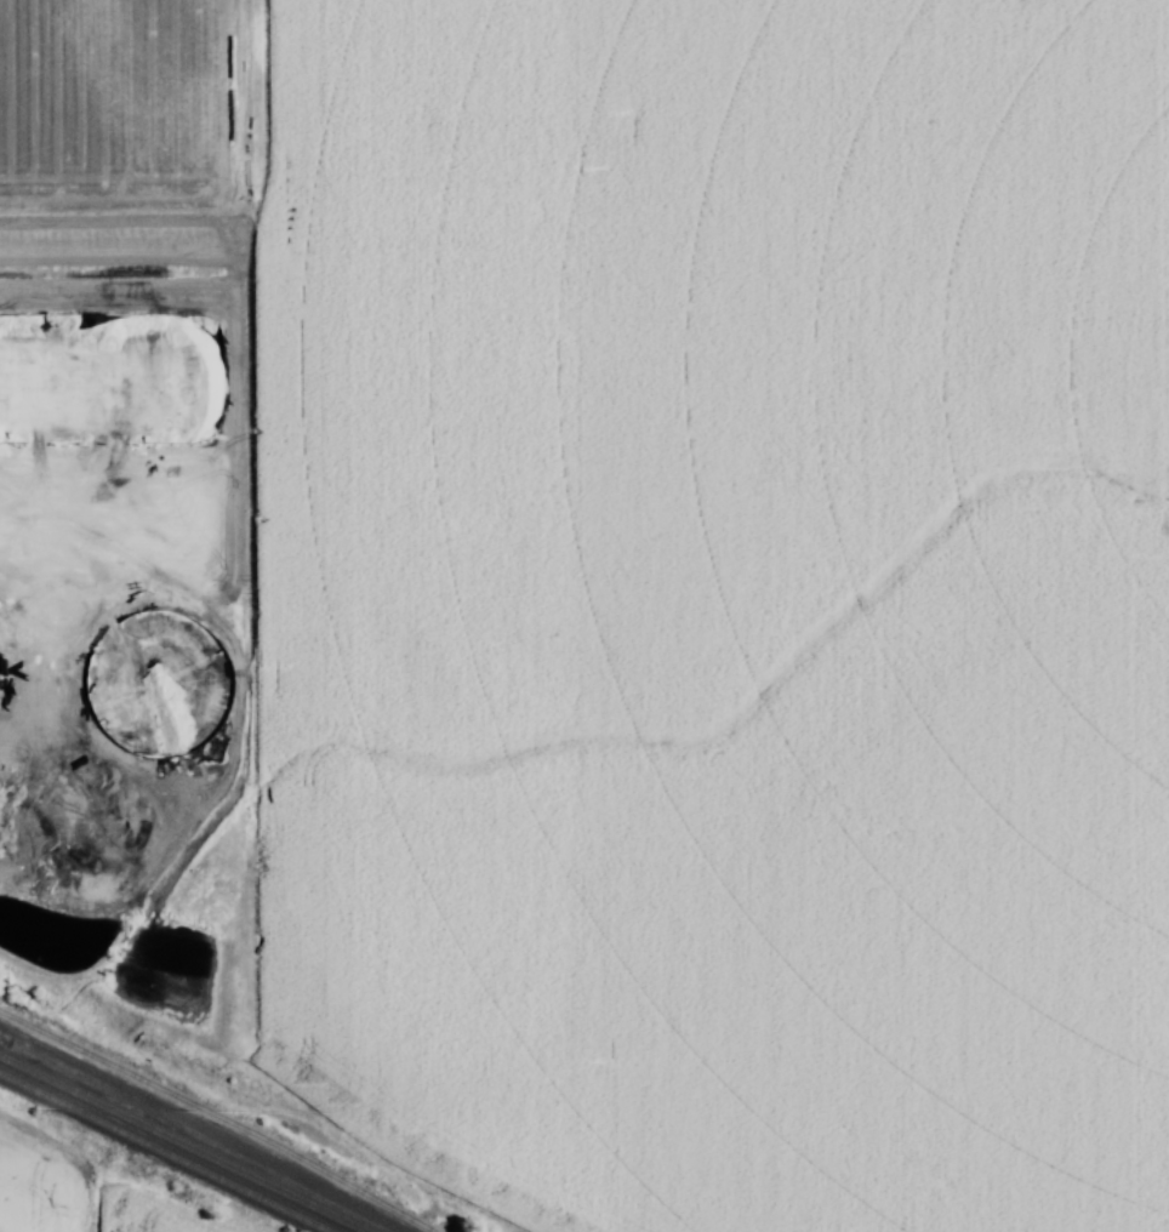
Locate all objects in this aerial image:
railway: (218, 1116)
railway: (184, 1142)
railway: (164, 1153)
crop: (35, 1186)
crop: (159, 1210)

